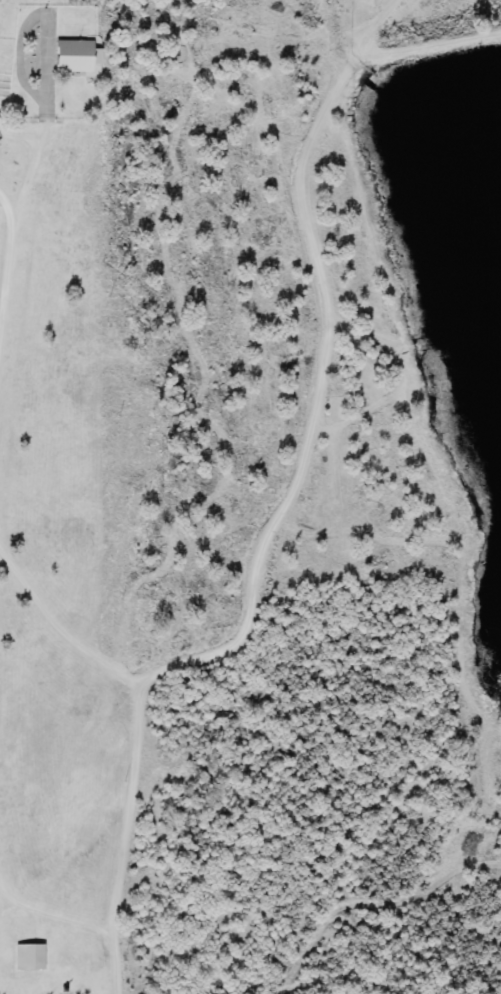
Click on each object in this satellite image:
dam: (420, 47)
building: (75, 57)
road: (10, 269)
building: (447, 373)
road: (283, 514)
road: (62, 628)
road: (0, 890)
road: (57, 913)
building: (30, 958)

